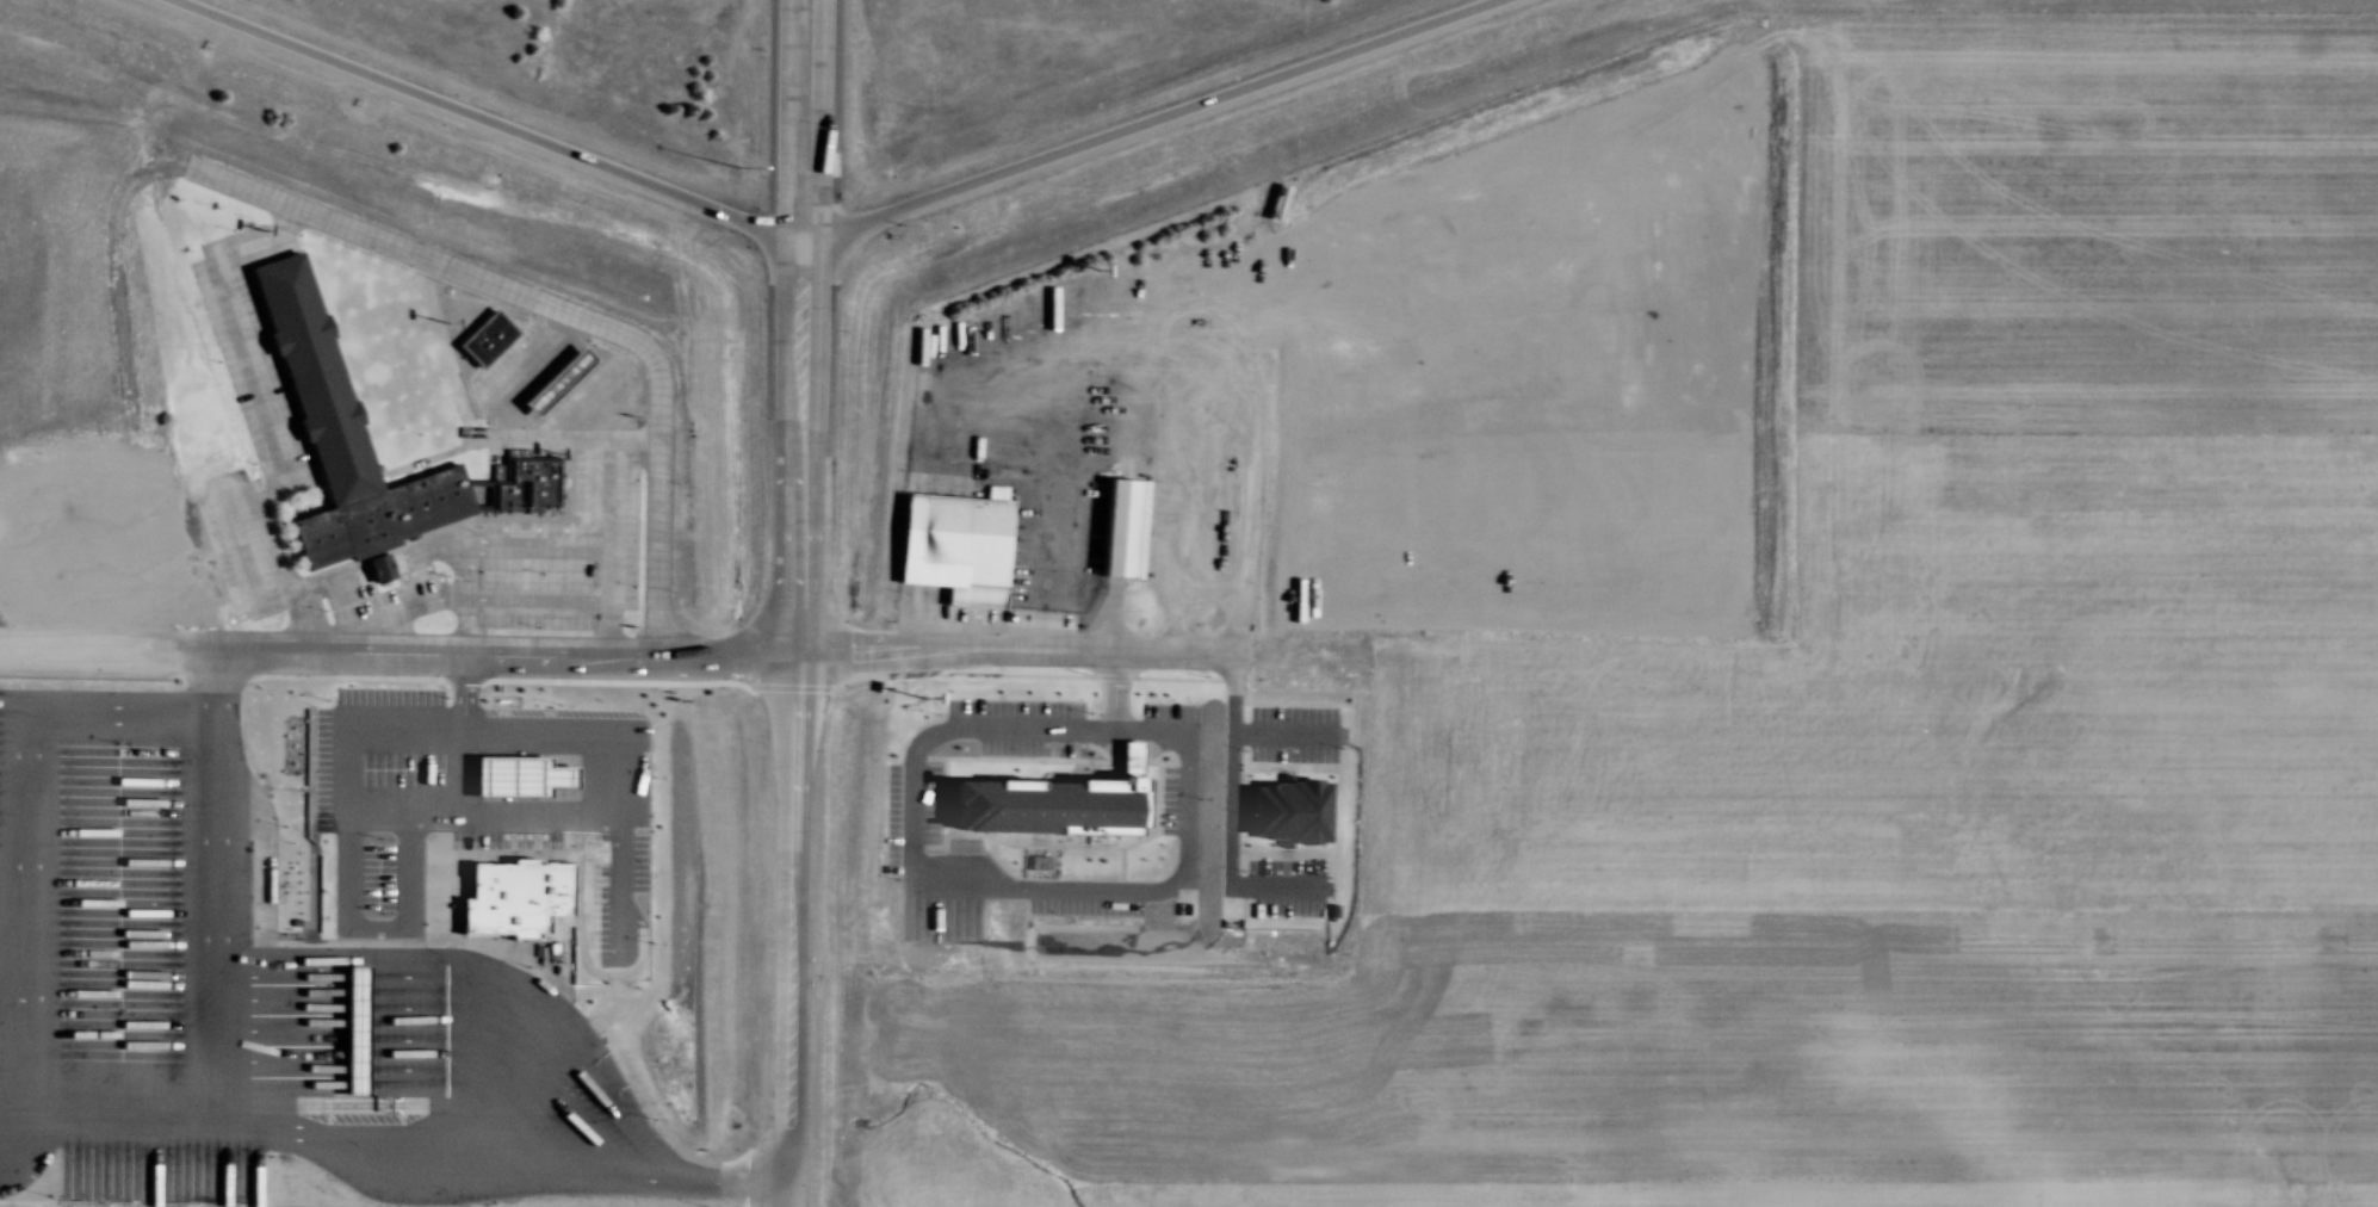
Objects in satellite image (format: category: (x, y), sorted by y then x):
road: (789, 114)
road: (823, 114)
road: (477, 117)
road: (1146, 124)
street lamp: (739, 165)
road: (794, 249)
road: (811, 250)
road: (565, 314)
building: (484, 338)
street lamp: (676, 371)
building: (553, 383)
building: (336, 433)
street lamp: (677, 479)
building: (525, 482)
building: (1125, 527)
building: (956, 544)
street lamp: (676, 588)
street lamp: (896, 592)
road: (485, 648)
road: (1016, 648)
street lamp: (219, 658)
street lamp: (342, 660)
street lamp: (459, 662)
street lamp: (584, 667)
street lamp: (704, 668)
street lamp: (936, 670)
street lamp: (1086, 673)
street lamp: (1208, 675)
crop: (1882, 732)
road: (788, 738)

